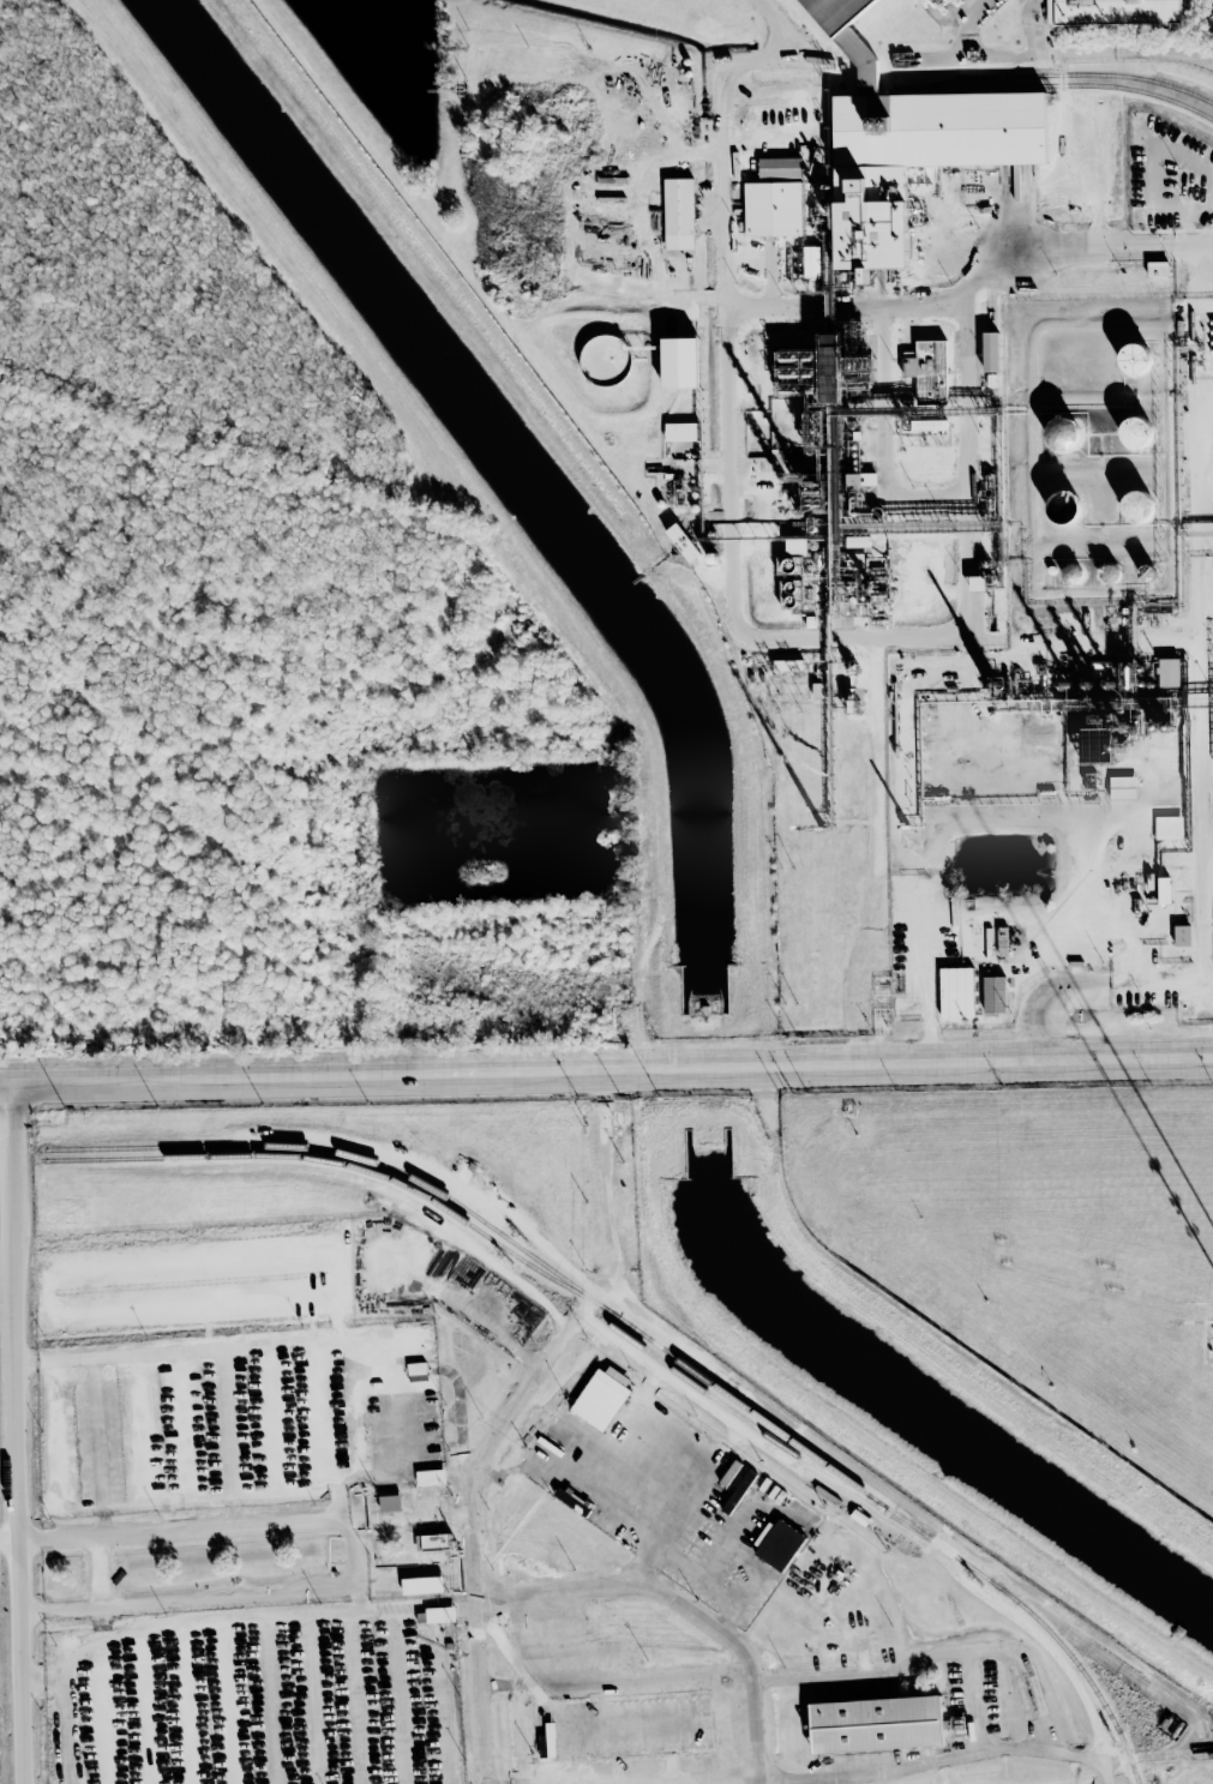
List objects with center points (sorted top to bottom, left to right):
building: (836, 12)
building: (1113, 12)
road: (975, 26)
road: (785, 31)
railway: (1055, 74)
railway: (955, 83)
railway: (1053, 84)
building: (779, 168)
building: (773, 209)
building: (678, 214)
road: (1027, 218)
building: (811, 262)
building: (1158, 269)
road: (779, 278)
road: (975, 293)
road: (733, 341)
road: (1206, 342)
building: (990, 352)
building: (605, 358)
building: (1135, 359)
building: (680, 362)
building: (926, 370)
building: (681, 432)
building: (1136, 432)
building: (1062, 433)
building: (861, 479)
road: (938, 492)
building: (1137, 505)
building: (1063, 506)
road: (1209, 516)
building: (681, 541)
building: (1109, 572)
road: (973, 601)
road: (1195, 612)
building: (1169, 673)
building: (1123, 787)
road: (947, 818)
building: (1169, 828)
road: (1106, 900)
road: (1197, 925)
building: (1182, 936)
road: (1092, 986)
building: (956, 992)
building: (995, 995)
road: (606, 1070)
railway: (352, 1166)
railway: (654, 1342)
road: (259, 1346)
building: (416, 1371)
railway: (737, 1414)
road: (466, 1419)
road: (506, 1425)
building: (594, 1428)
road: (24, 1432)
road: (228, 1441)
road: (823, 1443)
road: (98, 1449)
building: (431, 1478)
road: (761, 1480)
building: (738, 1492)
building: (390, 1503)
road: (252, 1531)
building: (432, 1542)
road: (14, 1543)
building: (779, 1544)
road: (361, 1564)
road: (108, 1580)
building: (422, 1585)
road: (669, 1585)
road: (258, 1610)
building: (439, 1615)
road: (1049, 1650)
road: (945, 1654)
road: (490, 1687)
road: (979, 1701)
road: (68, 1720)
building: (876, 1724)
road: (1022, 1749)

